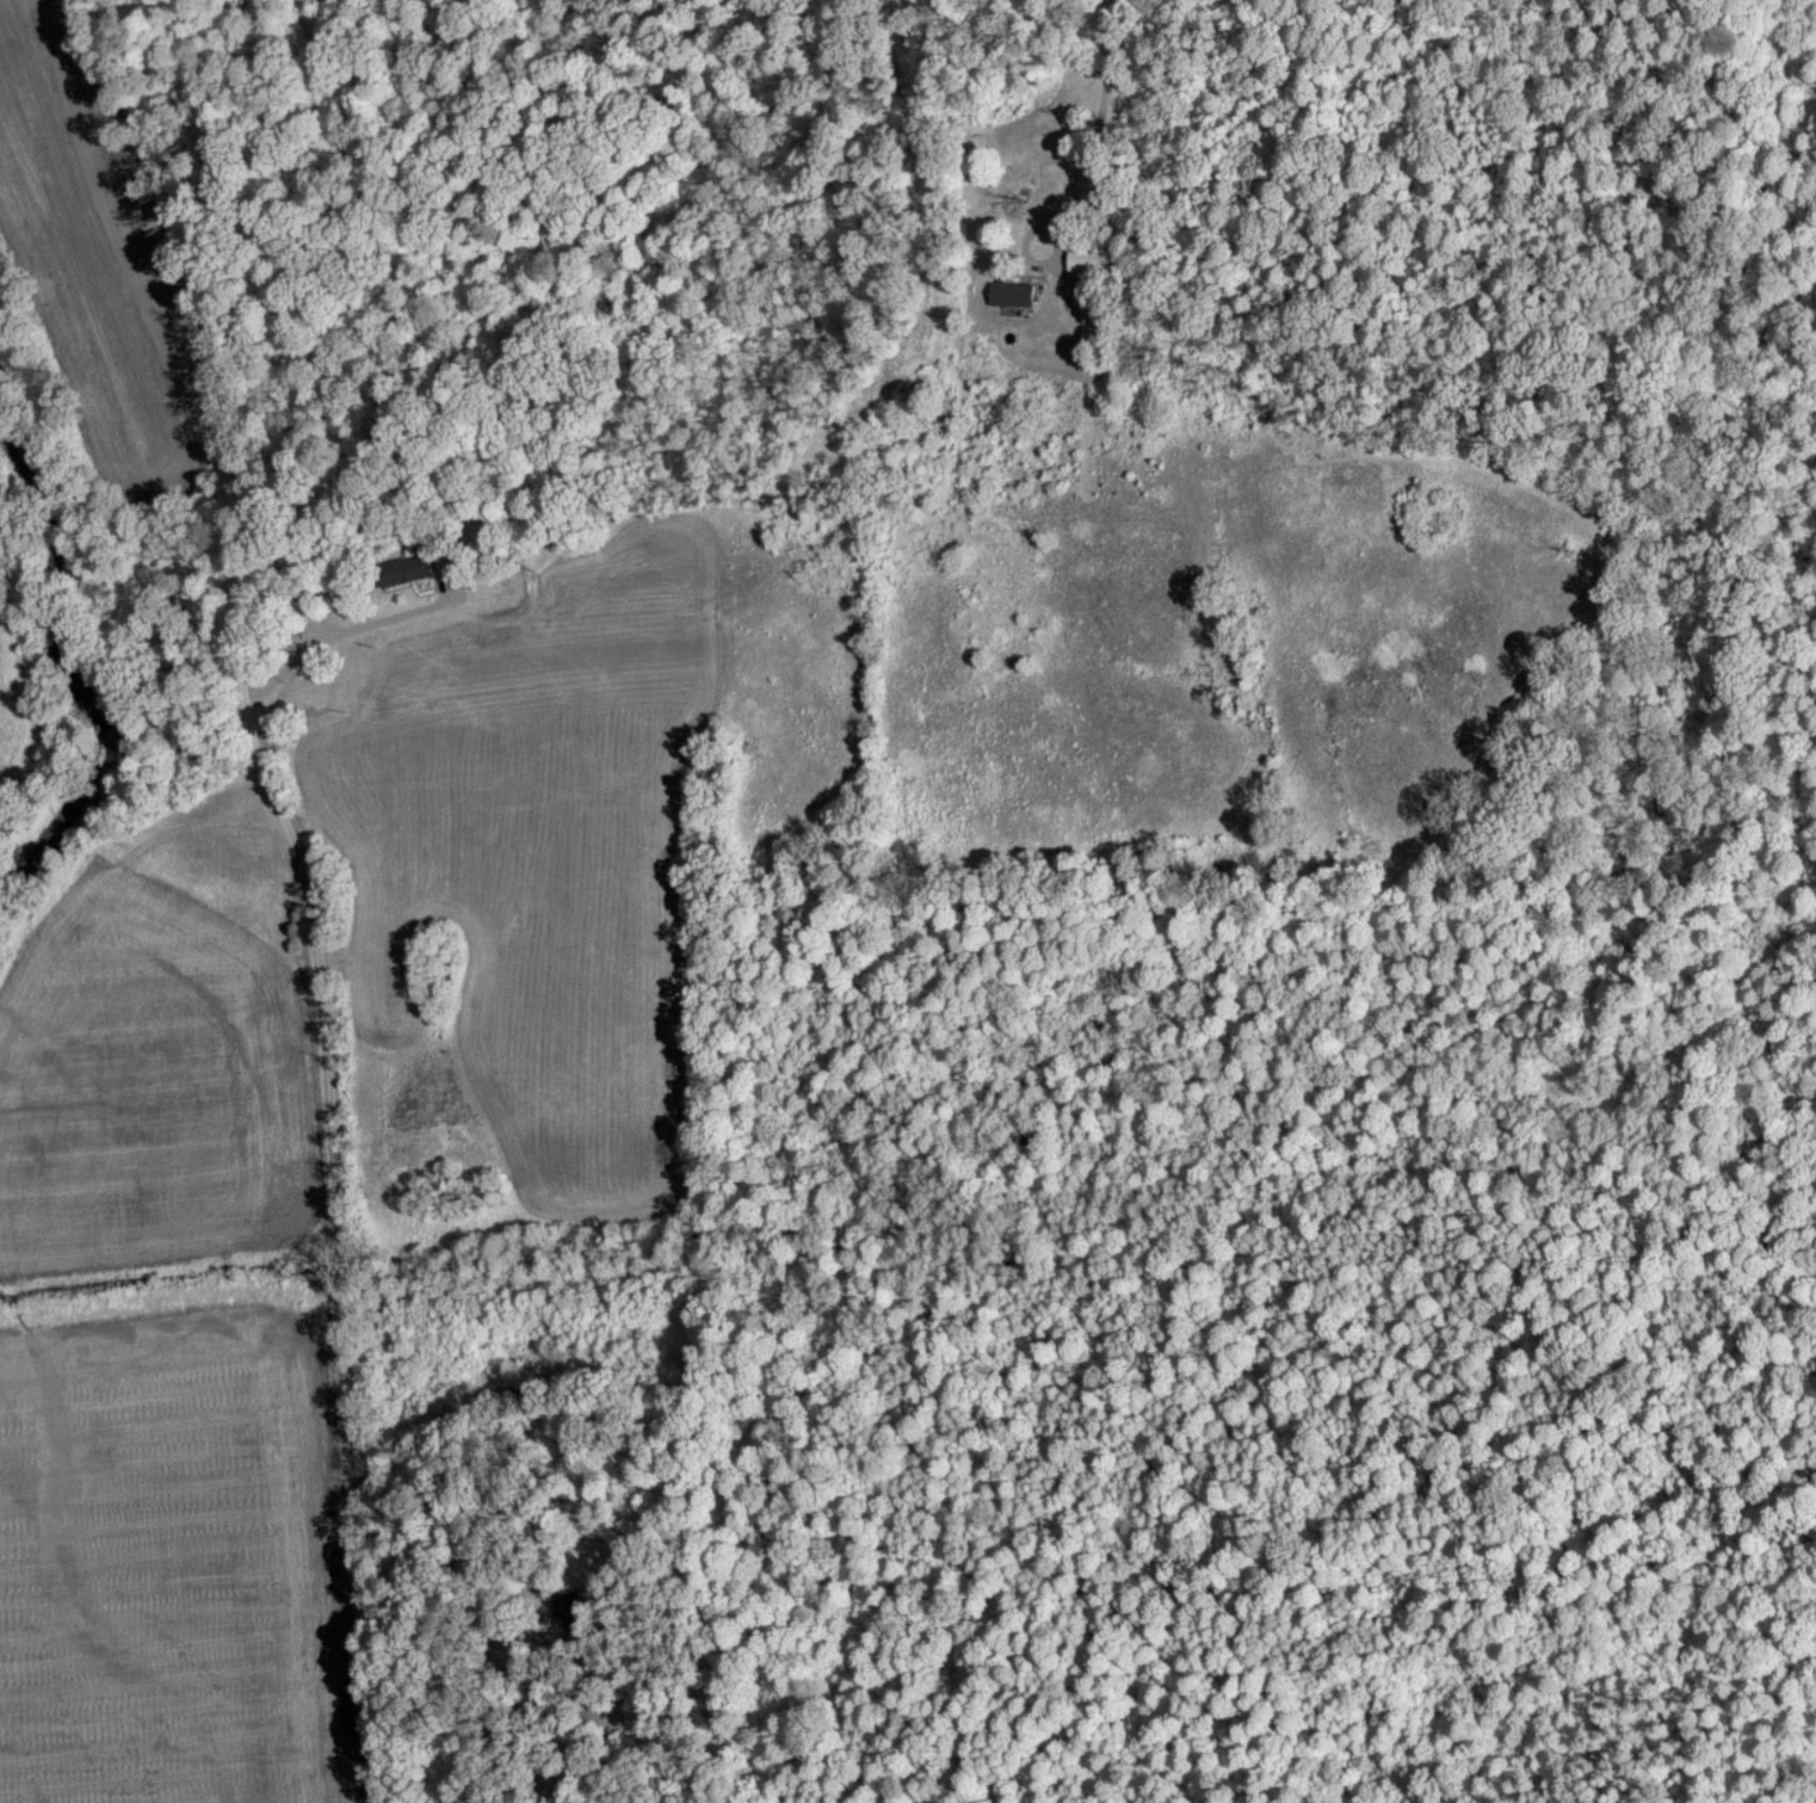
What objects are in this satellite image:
building: (1006, 292)
building: (401, 569)
road: (302, 884)

